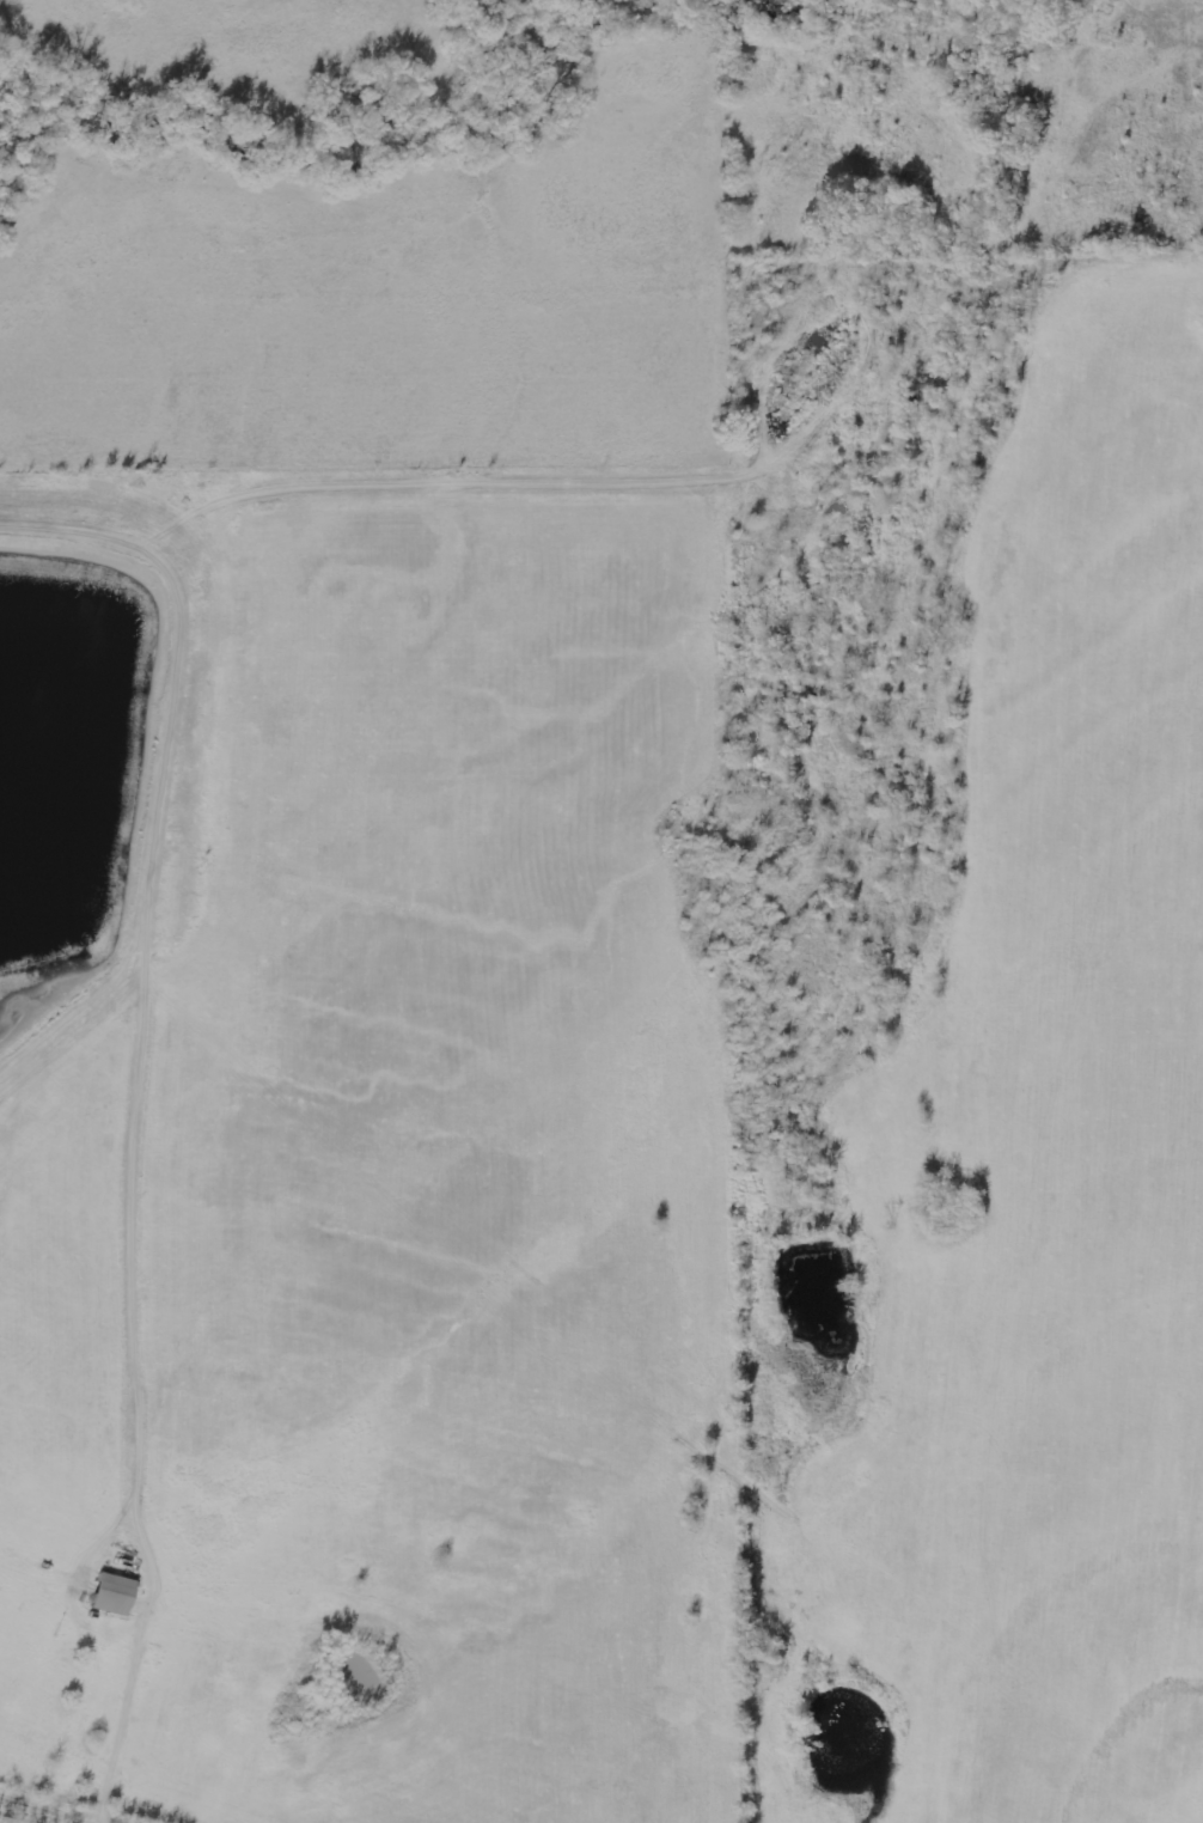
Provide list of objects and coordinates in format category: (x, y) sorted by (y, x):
road: (30, 1815)

